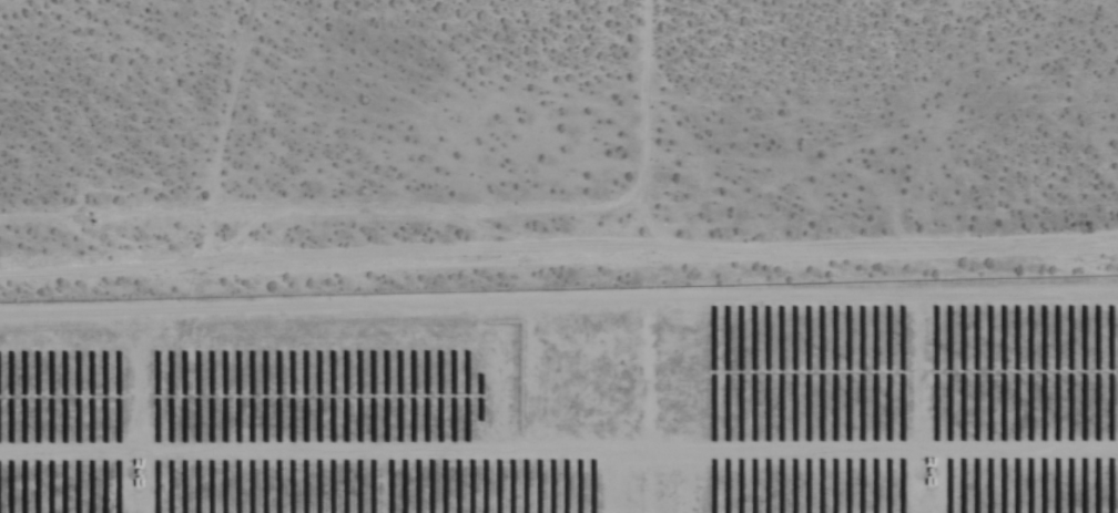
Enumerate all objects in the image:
road: (636, 125)
road: (559, 254)
solar farm: (569, 397)

